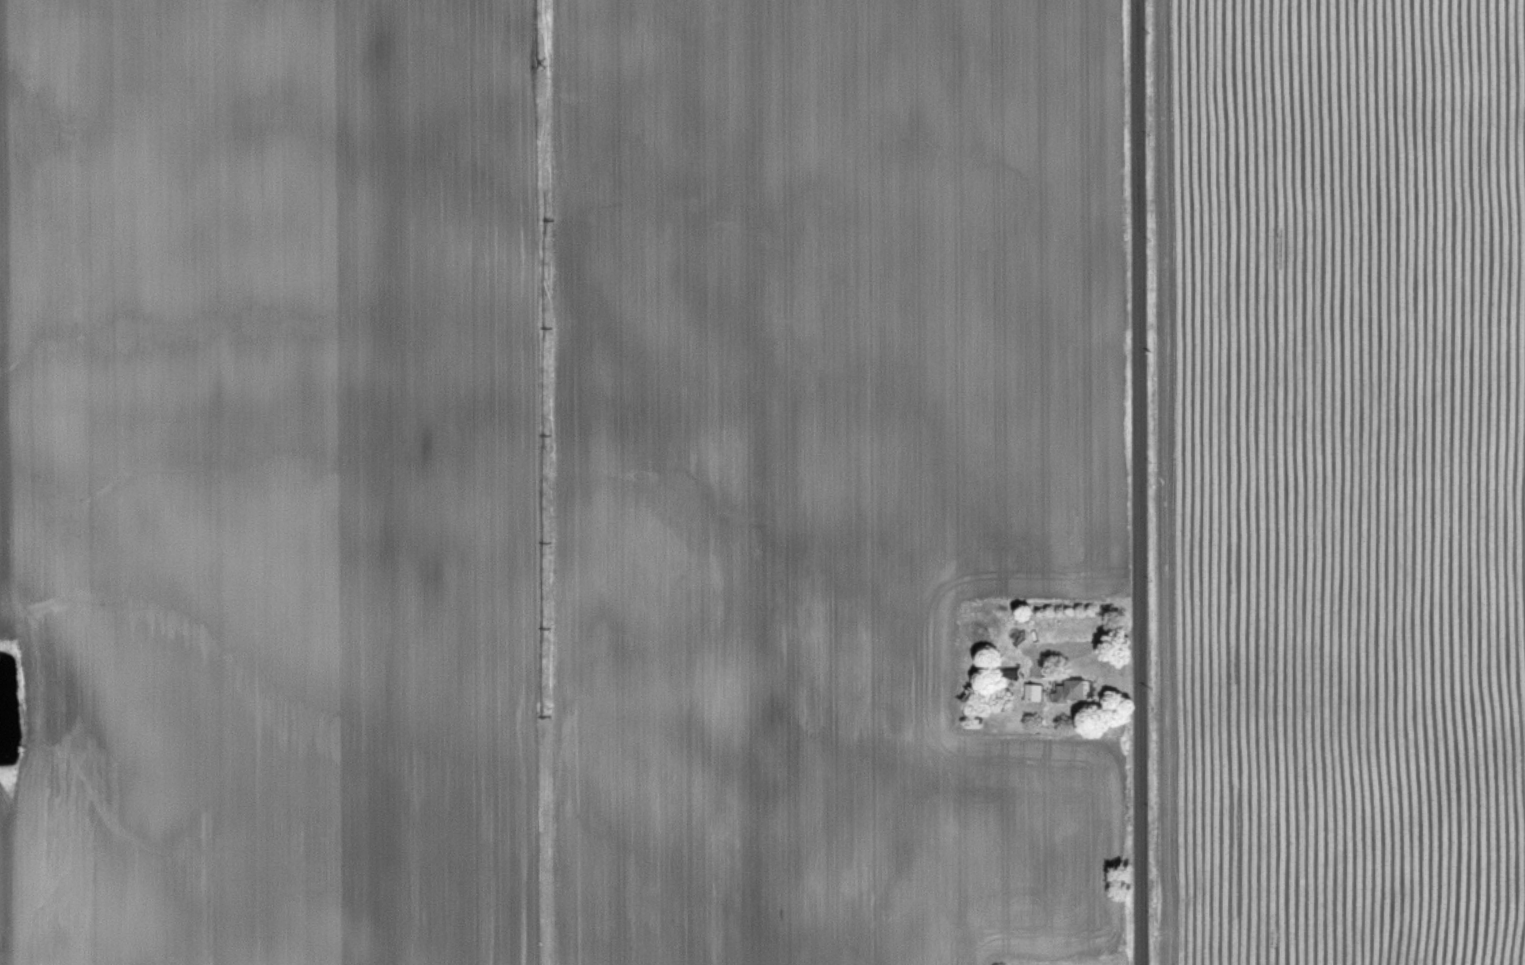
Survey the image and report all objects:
road: (1140, 482)
building: (1074, 689)
building: (1034, 691)

